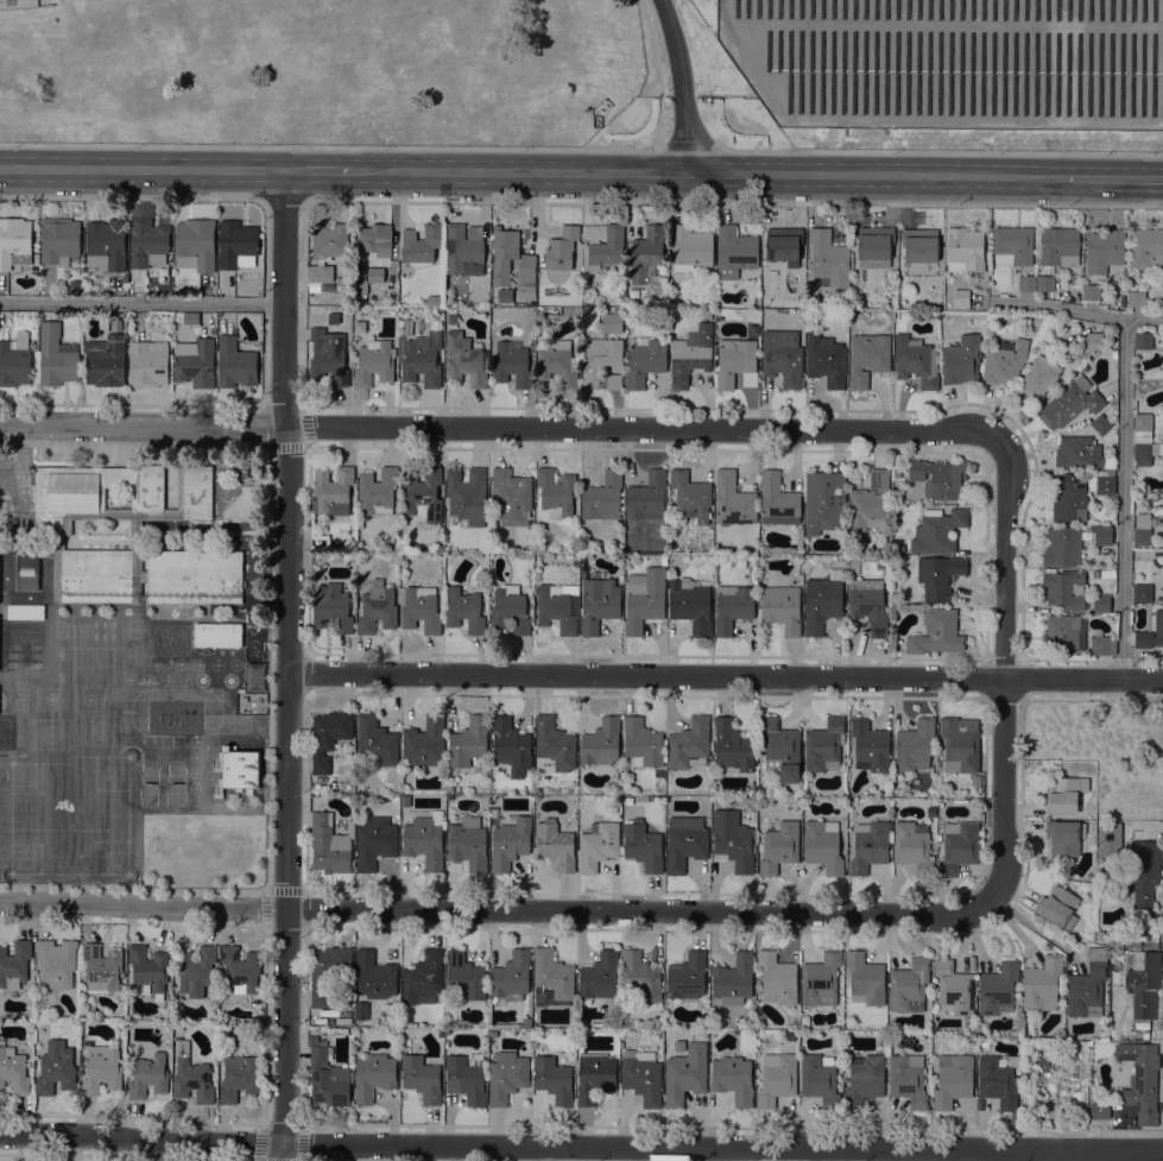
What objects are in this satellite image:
road: (658, 70)
road: (683, 84)
road: (689, 144)
road: (330, 146)
road: (940, 151)
road: (143, 170)
road: (318, 171)
road: (520, 172)
road: (876, 173)
road: (1113, 175)
road: (132, 197)
building: (377, 239)
building: (59, 240)
building: (329, 241)
building: (14, 242)
building: (147, 242)
building: (106, 244)
building: (421, 244)
building: (195, 245)
building: (236, 245)
building: (783, 245)
building: (919, 245)
building: (1012, 246)
building: (1060, 246)
building: (608, 247)
building: (874, 247)
building: (1146, 247)
building: (690, 248)
building: (561, 250)
building: (1104, 250)
building: (466, 251)
building: (965, 251)
building: (734, 252)
building: (504, 254)
building: (646, 255)
building: (829, 258)
building: (359, 273)
building: (320, 275)
building: (375, 275)
building: (526, 276)
building: (1026, 283)
building: (1045, 283)
building: (358, 289)
building: (1091, 292)
building: (505, 295)
building: (961, 298)
building: (1136, 298)
building: (432, 299)
building: (448, 299)
building: (360, 301)
road: (141, 302)
building: (438, 310)
building: (707, 314)
building: (190, 318)
road: (1142, 320)
building: (993, 321)
building: (612, 323)
building: (360, 327)
building: (1094, 341)
building: (1143, 341)
building: (691, 354)
building: (56, 356)
building: (782, 356)
building: (328, 358)
building: (867, 359)
building: (14, 360)
building: (422, 360)
building: (466, 360)
building: (826, 360)
building: (916, 360)
building: (961, 360)
building: (1004, 360)
building: (106, 361)
building: (644, 361)
building: (195, 362)
building: (374, 362)
building: (147, 364)
building: (235, 364)
building: (602, 364)
building: (735, 364)
building: (512, 365)
building: (558, 365)
building: (1037, 380)
building: (1070, 404)
building: (1101, 424)
building: (1143, 425)
road: (499, 427)
road: (1124, 435)
building: (1146, 449)
building: (1077, 453)
road: (17, 455)
parking lot: (14, 474)
building: (938, 478)
building: (1105, 482)
building: (333, 491)
building: (378, 491)
building: (556, 492)
building: (423, 496)
building: (467, 496)
building: (511, 497)
building: (602, 497)
building: (690, 497)
building: (646, 498)
building: (733, 499)
building: (1068, 499)
building: (778, 500)
building: (824, 501)
building: (870, 503)
building: (1162, 529)
building: (1142, 530)
building: (937, 531)
building: (1102, 535)
building: (133, 537)
building: (1062, 547)
building: (898, 548)
building: (663, 561)
building: (27, 572)
building: (1095, 574)
building: (938, 576)
building: (1064, 591)
building: (1142, 593)
building: (645, 601)
building: (1101, 602)
building: (599, 604)
building: (821, 604)
building: (691, 605)
building: (868, 605)
building: (333, 607)
building: (732, 607)
building: (377, 608)
building: (555, 608)
building: (782, 608)
building: (421, 610)
building: (510, 610)
building: (464, 611)
building: (25, 612)
building: (937, 633)
building: (1151, 633)
building: (217, 635)
building: (1063, 635)
building: (166, 642)
building: (23, 643)
building: (1102, 646)
road: (287, 665)
road: (268, 668)
road: (1004, 668)
building: (226, 669)
road: (725, 677)
building: (5, 734)
building: (328, 737)
building: (1143, 740)
building: (601, 742)
building: (375, 743)
building: (425, 743)
building: (468, 743)
building: (643, 744)
building: (690, 744)
building: (960, 744)
building: (511, 745)
building: (824, 745)
building: (915, 745)
building: (552, 746)
building: (733, 746)
building: (870, 747)
building: (779, 750)
building: (1111, 750)
building: (240, 768)
building: (1064, 794)
building: (405, 801)
building: (1064, 838)
building: (734, 840)
building: (374, 843)
building: (424, 843)
building: (468, 844)
building: (510, 844)
building: (556, 845)
building: (329, 846)
building: (598, 846)
building: (643, 846)
building: (779, 846)
building: (823, 846)
building: (870, 846)
building: (685, 847)
building: (914, 847)
building: (959, 847)
building: (1124, 848)
building: (1142, 871)
building: (1057, 907)
road: (500, 909)
road: (1039, 932)
building: (1100, 935)
building: (56, 963)
building: (14, 964)
building: (101, 968)
building: (147, 970)
building: (240, 970)
building: (195, 971)
building: (328, 971)
building: (374, 976)
building: (464, 976)
building: (512, 976)
building: (640, 976)
building: (600, 977)
building: (687, 977)
building: (423, 978)
building: (734, 978)
building: (551, 979)
building: (778, 979)
building: (821, 979)
building: (865, 979)
building: (1144, 983)
building: (1042, 985)
building: (909, 986)
building: (1088, 986)
building: (955, 988)
building: (998, 989)
building: (360, 1011)
building: (656, 1021)
building: (526, 1022)
building: (492, 1034)
building: (972, 1036)
building: (55, 1068)
building: (101, 1069)
building: (13, 1071)
building: (685, 1074)
building: (148, 1077)
building: (191, 1077)
building: (373, 1077)
building: (506, 1077)
building: (594, 1077)
building: (641, 1077)
building: (328, 1078)
building: (239, 1079)
building: (422, 1079)
building: (733, 1079)
building: (776, 1079)
building: (466, 1080)
building: (554, 1080)
building: (818, 1080)
building: (865, 1080)
building: (908, 1080)
building: (953, 1080)
building: (1140, 1080)
building: (999, 1083)
building: (1100, 1110)
road: (581, 1146)
road: (715, 1154)

